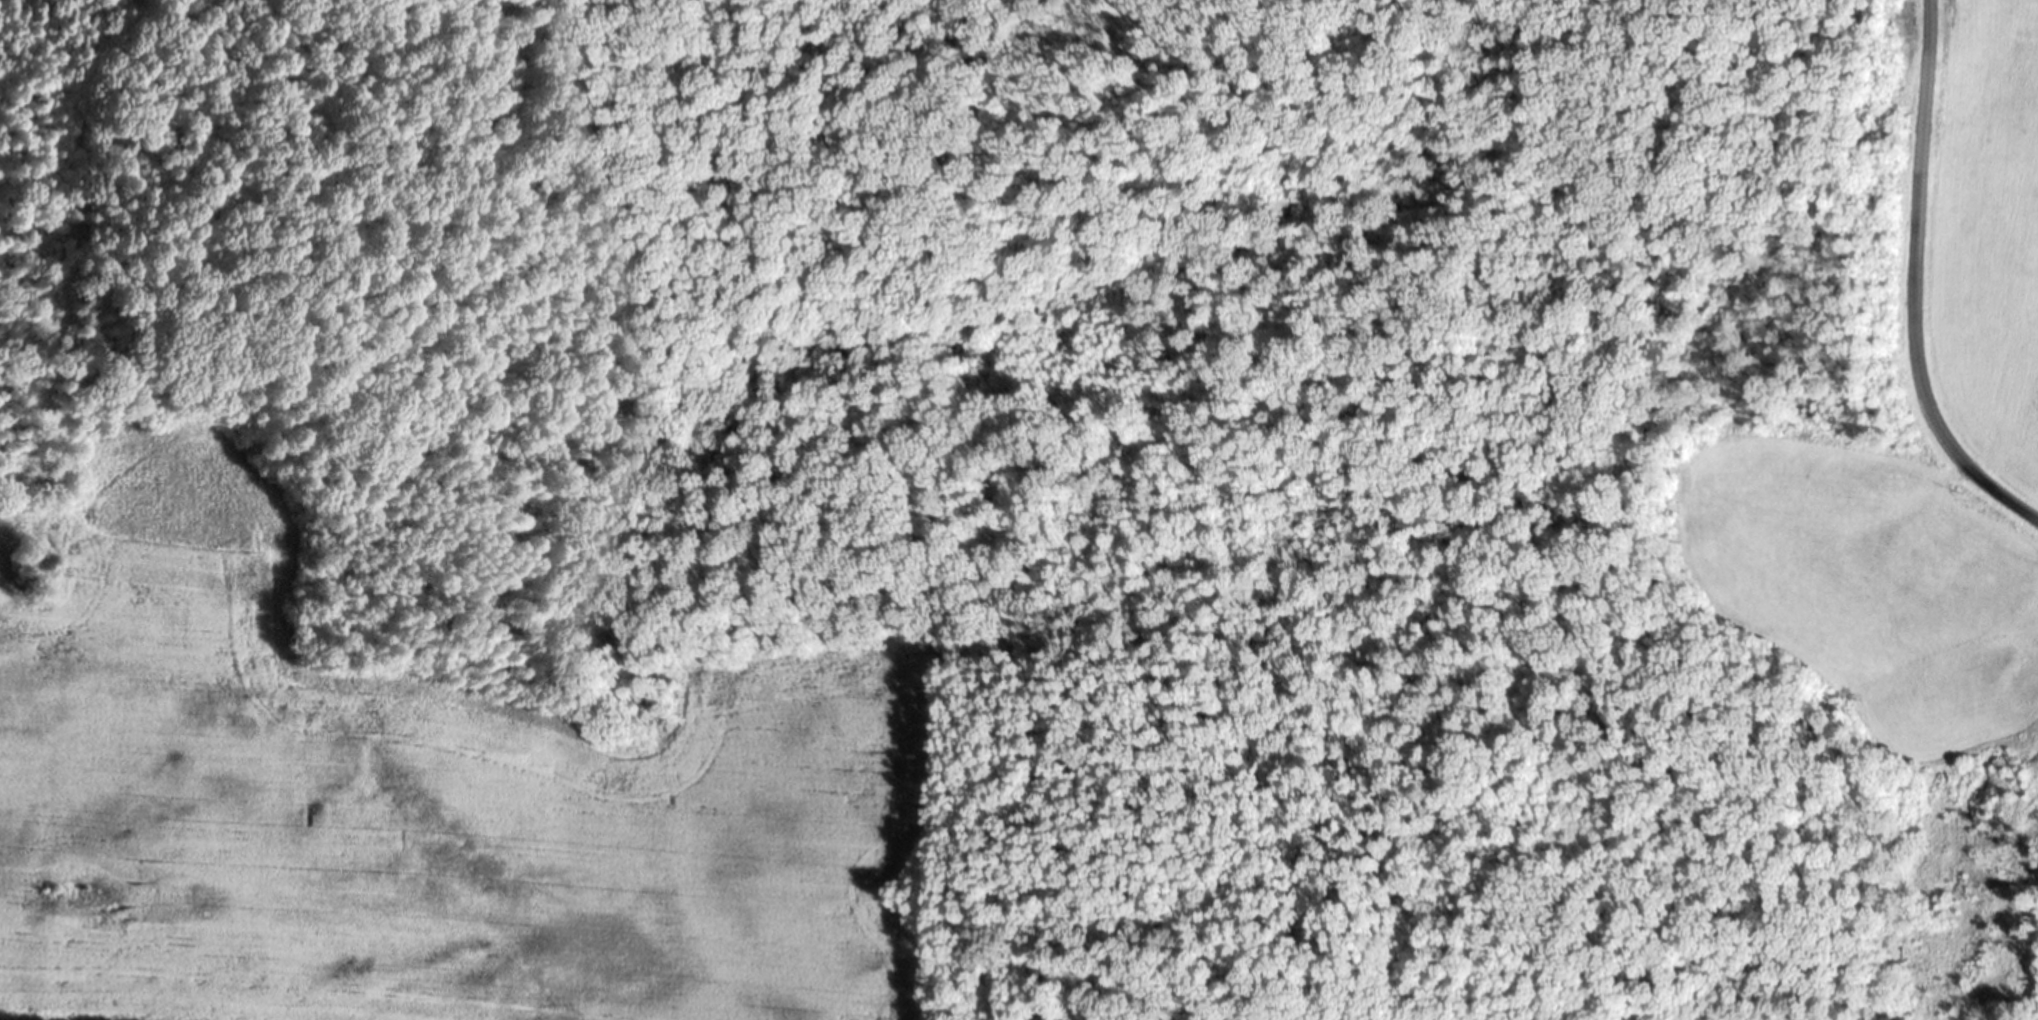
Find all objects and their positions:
road: (1915, 284)

